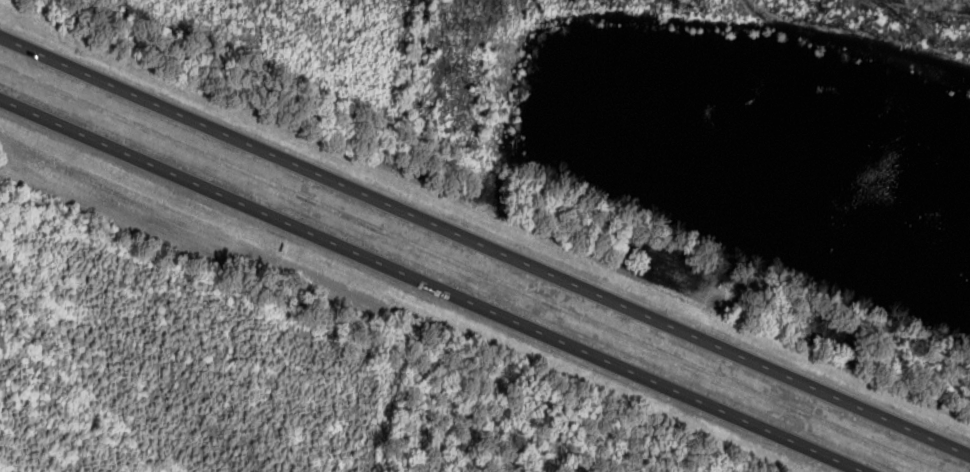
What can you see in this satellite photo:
road: (485, 247)
road: (431, 286)

